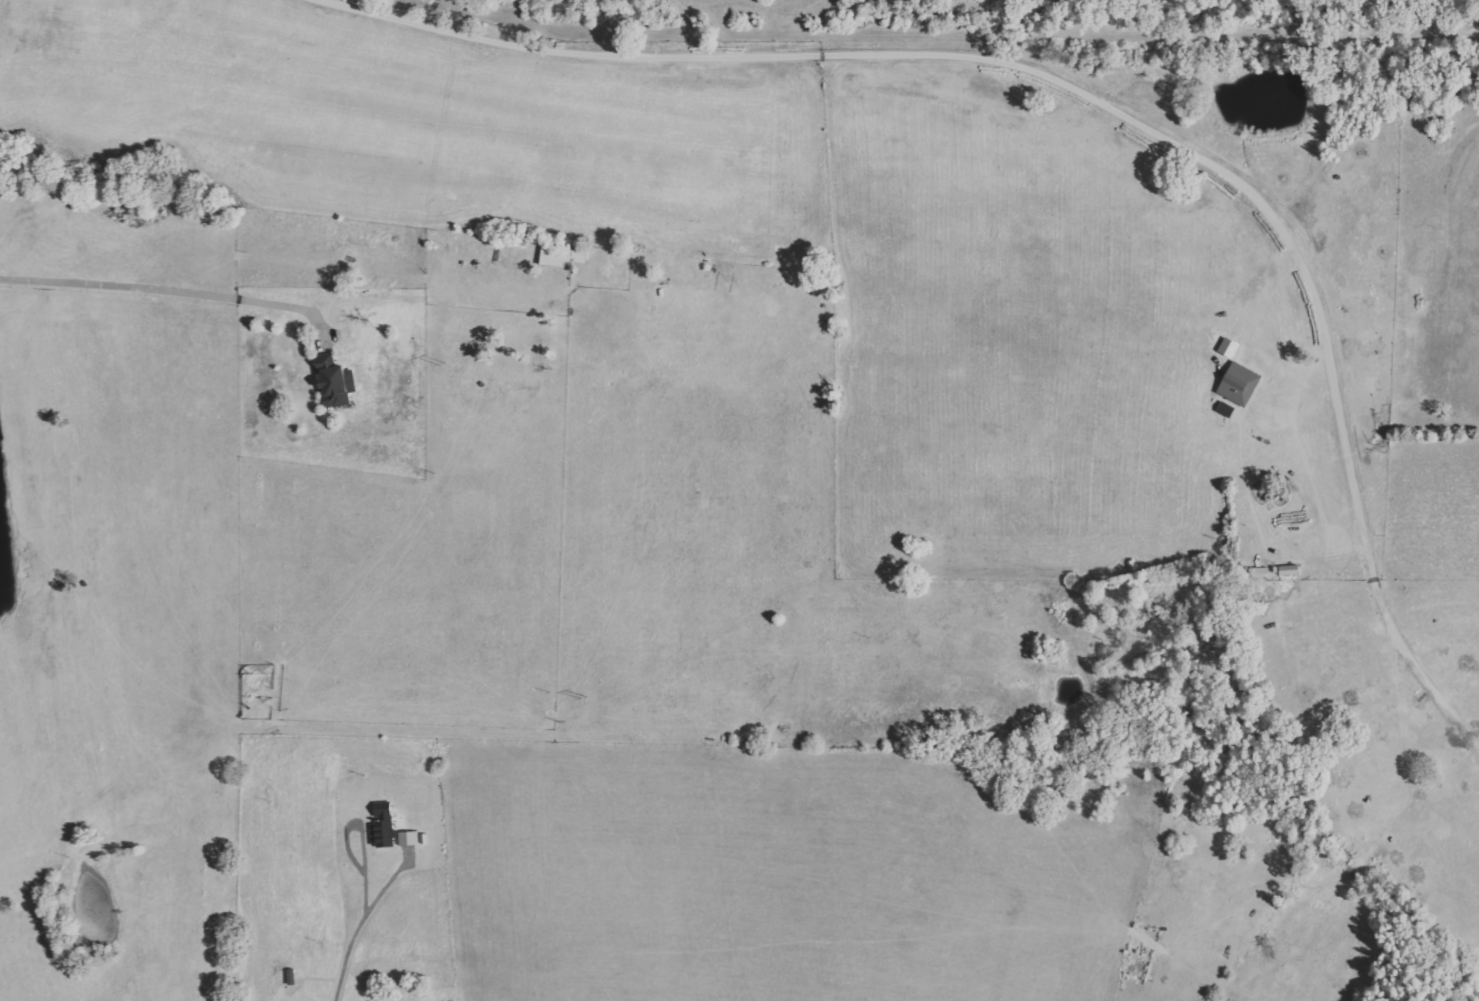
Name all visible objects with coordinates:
building: (334, 382)
building: (1238, 384)
road: (43, 789)
building: (382, 825)
building: (408, 838)

